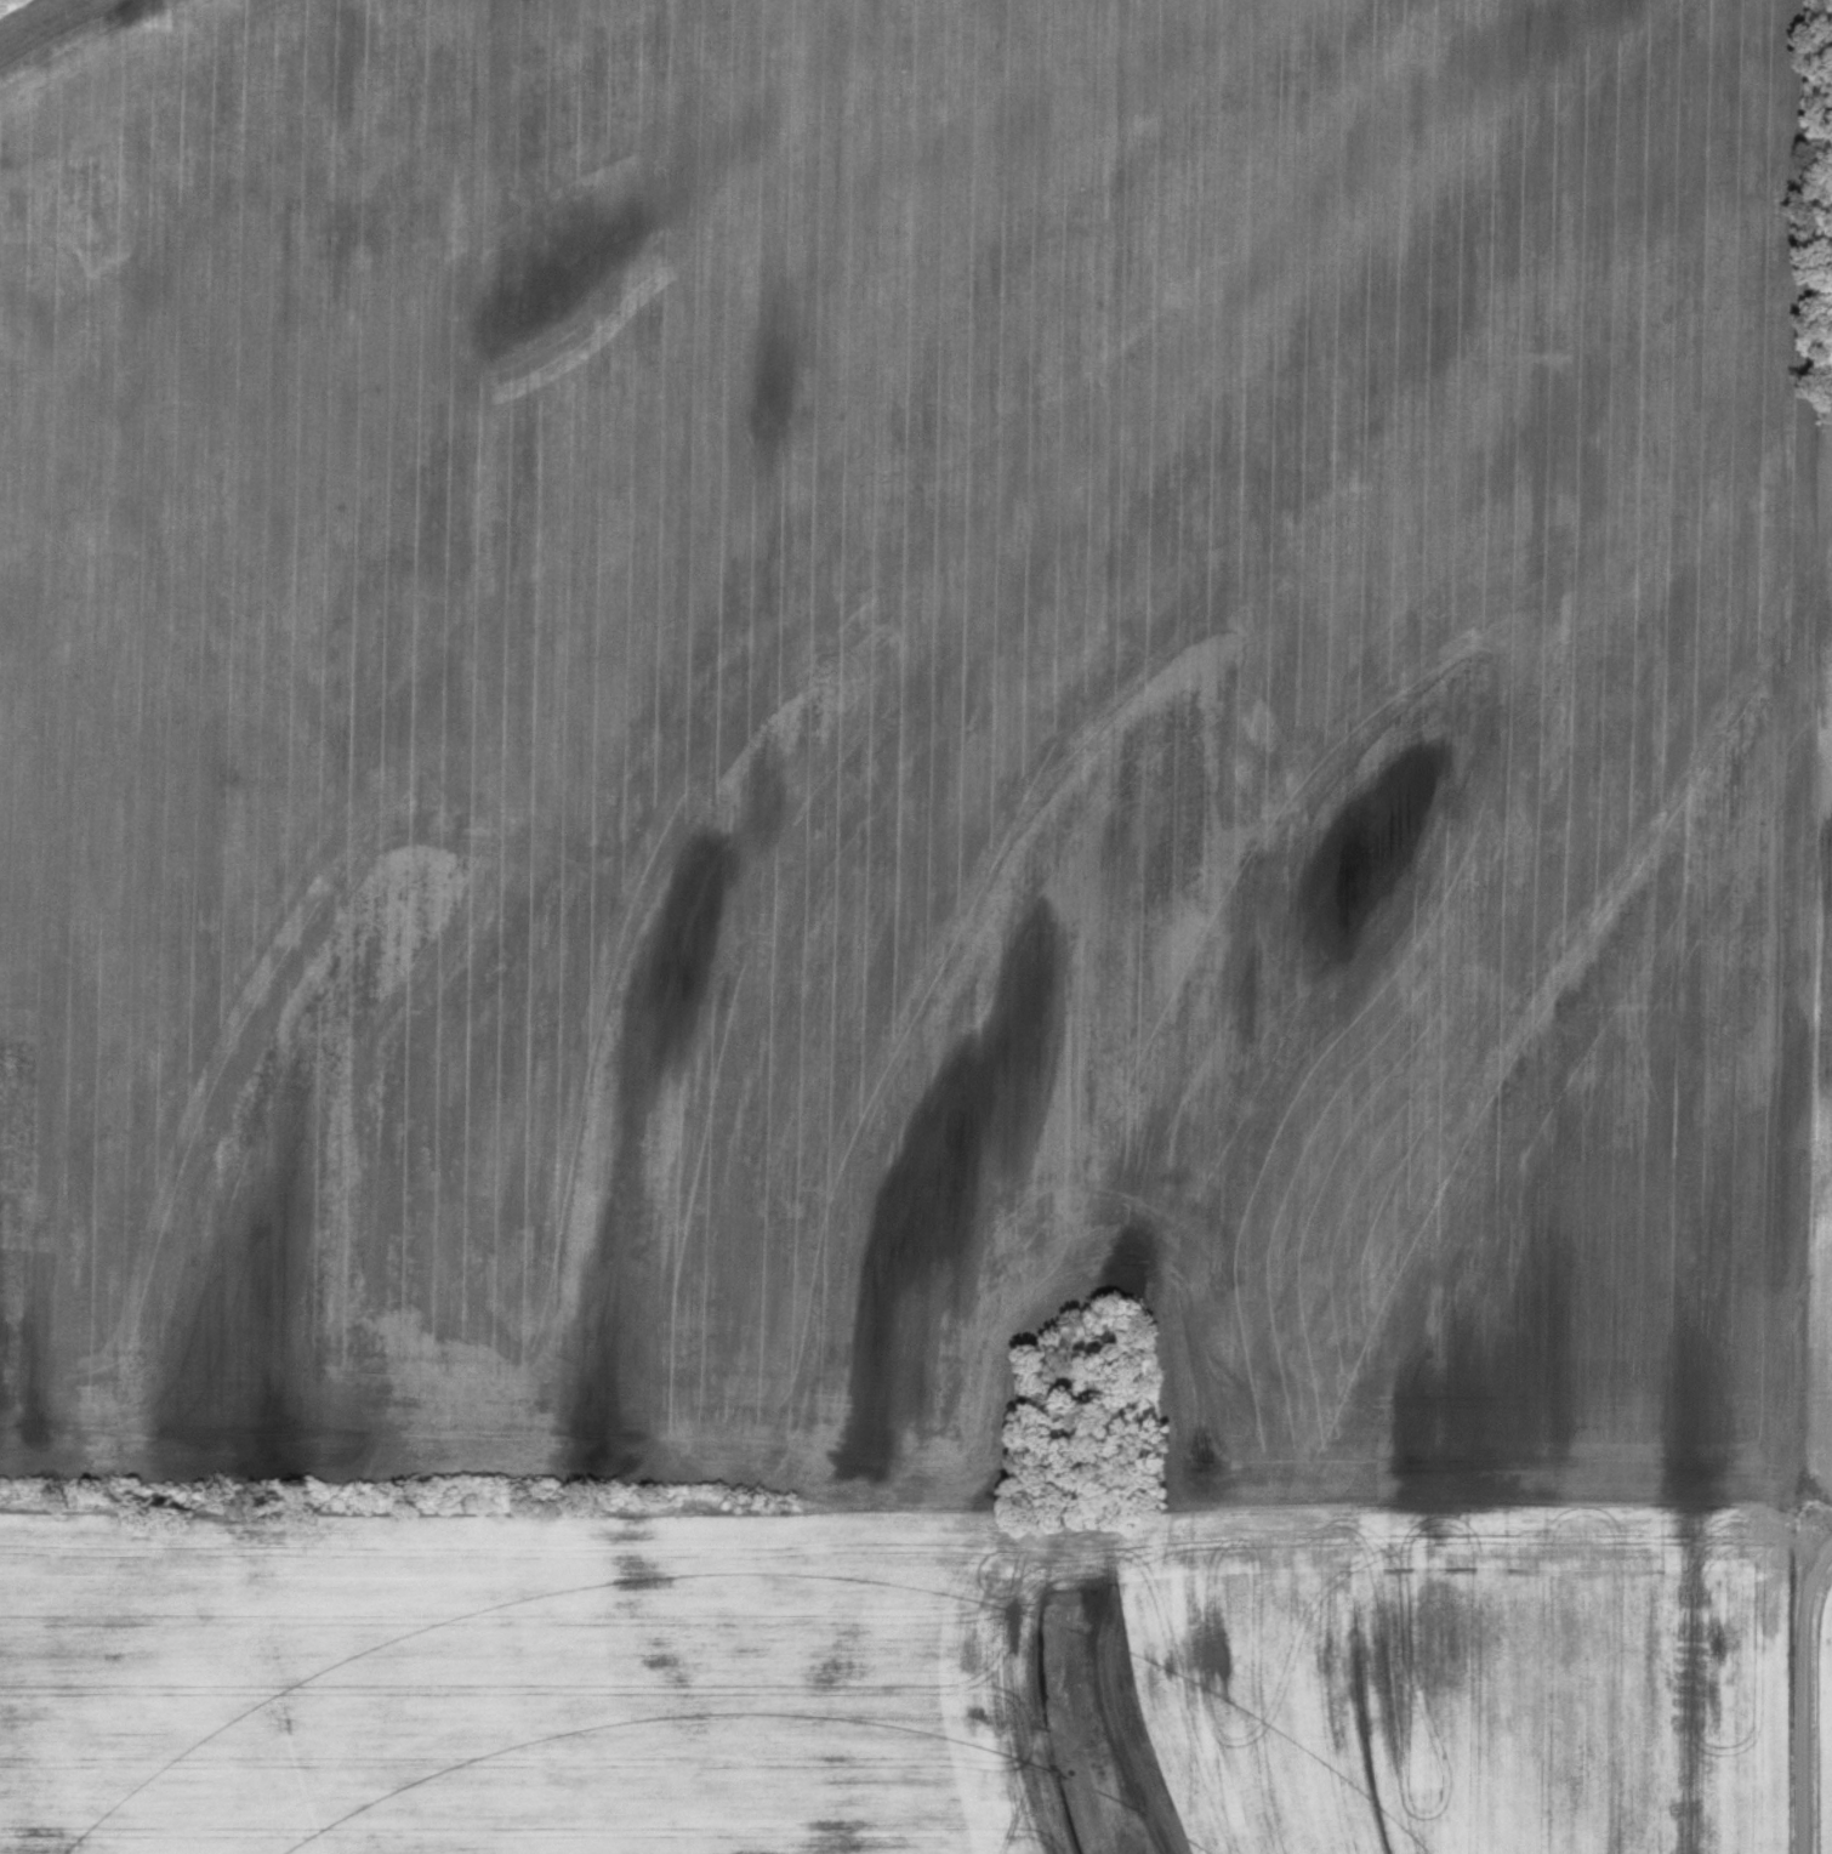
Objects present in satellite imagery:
road: (1805, 1695)

